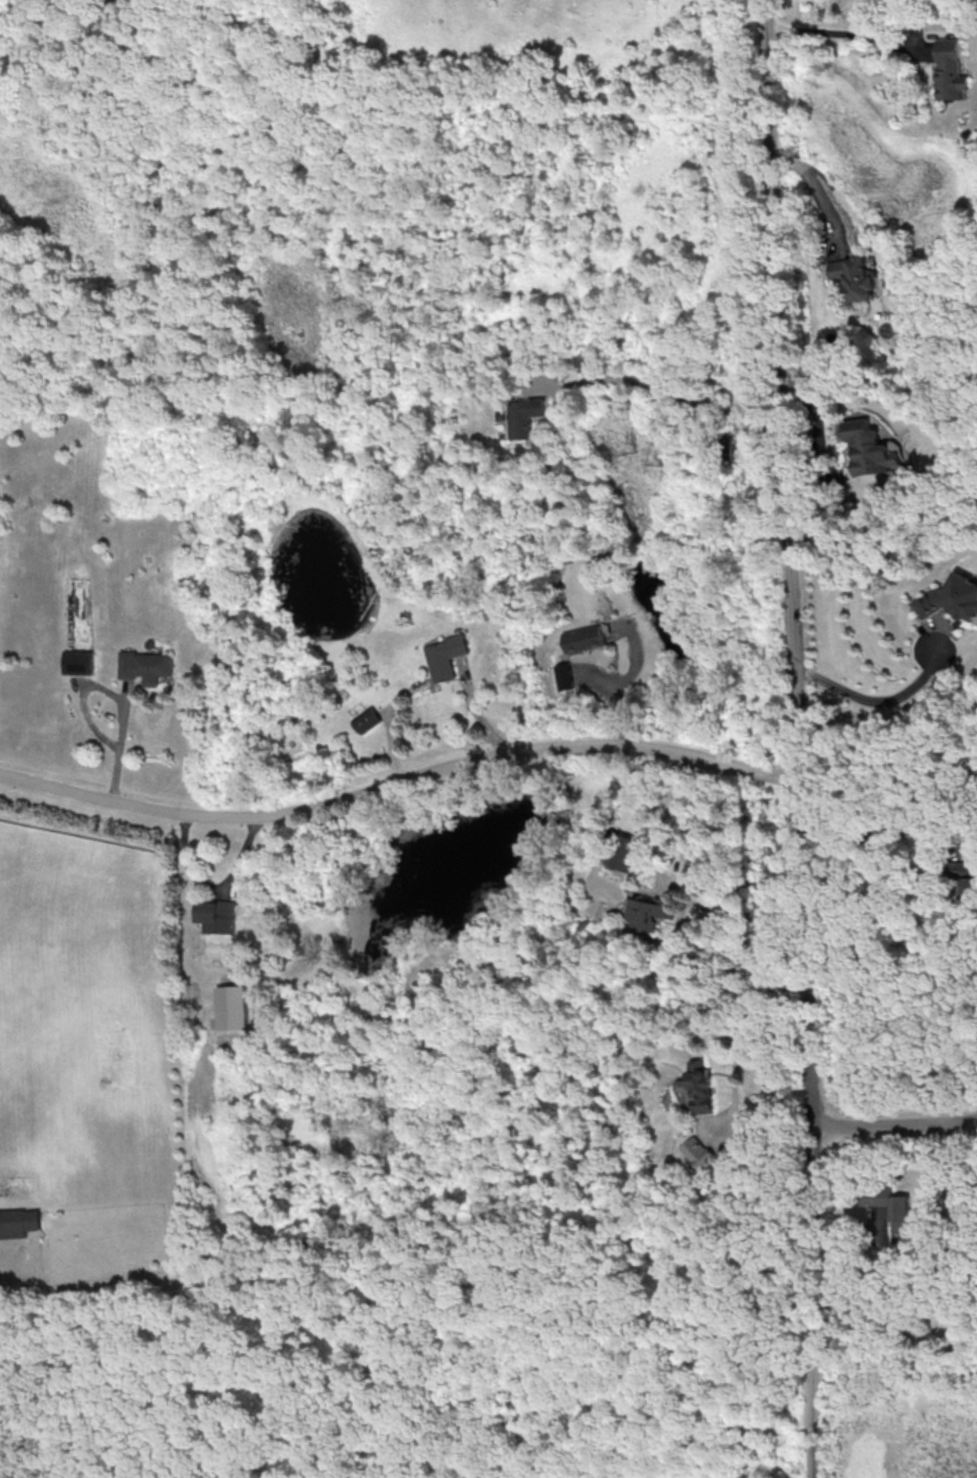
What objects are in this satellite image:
road: (846, 34)
building: (950, 70)
road: (812, 184)
building: (853, 276)
road: (658, 390)
building: (522, 416)
road: (819, 428)
building: (951, 599)
building: (582, 638)
building: (444, 656)
building: (78, 661)
building: (146, 665)
building: (562, 675)
road: (114, 690)
road: (869, 701)
road: (478, 715)
building: (366, 720)
road: (795, 738)
road: (397, 784)
road: (880, 832)
building: (620, 851)
building: (966, 878)
road: (214, 884)
road: (669, 884)
building: (645, 911)
building: (218, 915)
building: (234, 1007)
building: (697, 1086)
road: (895, 1125)
building: (698, 1151)
building: (888, 1202)
building: (18, 1222)

